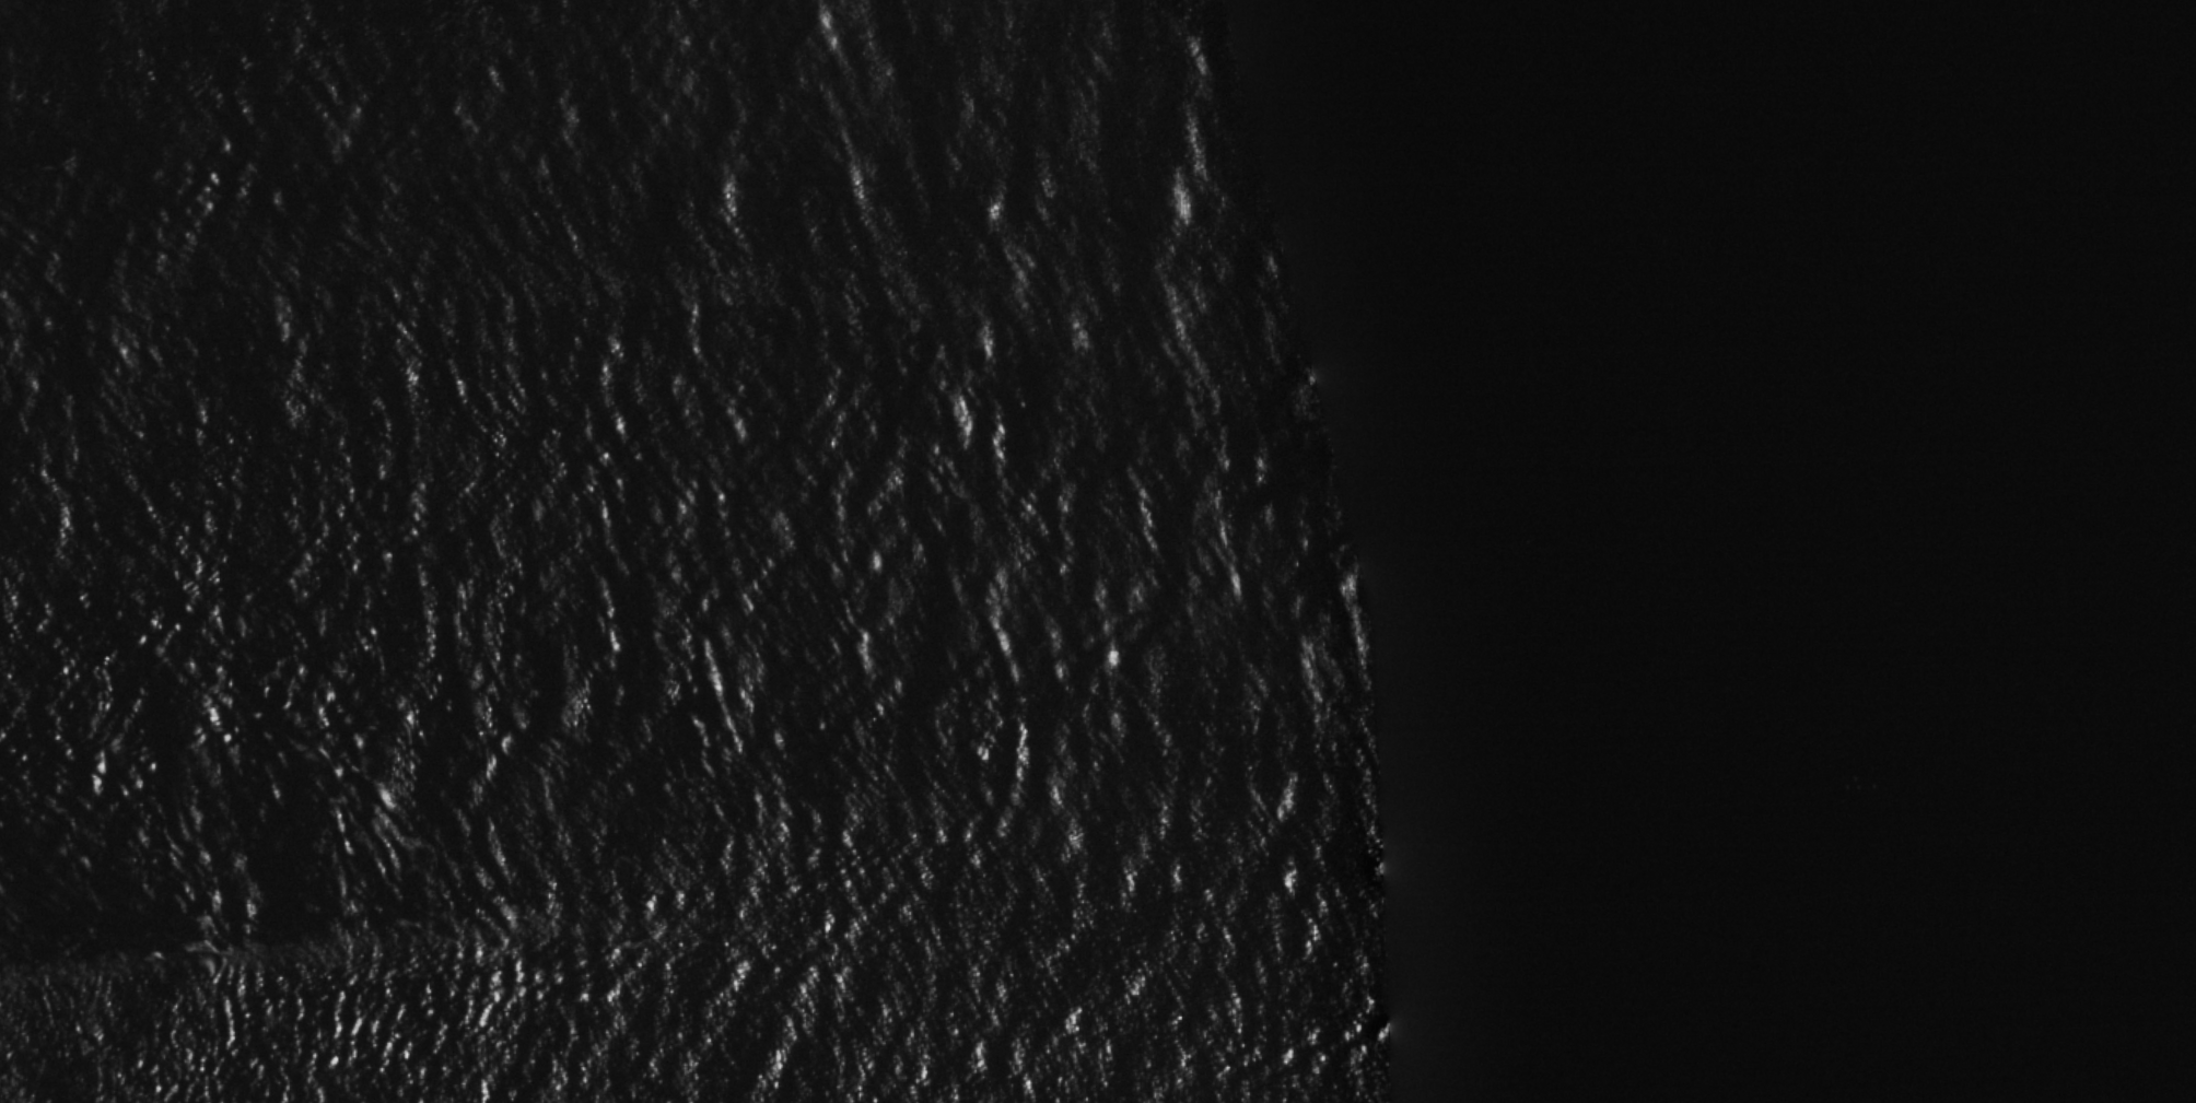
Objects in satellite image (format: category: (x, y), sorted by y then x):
river: (2124, 63)

